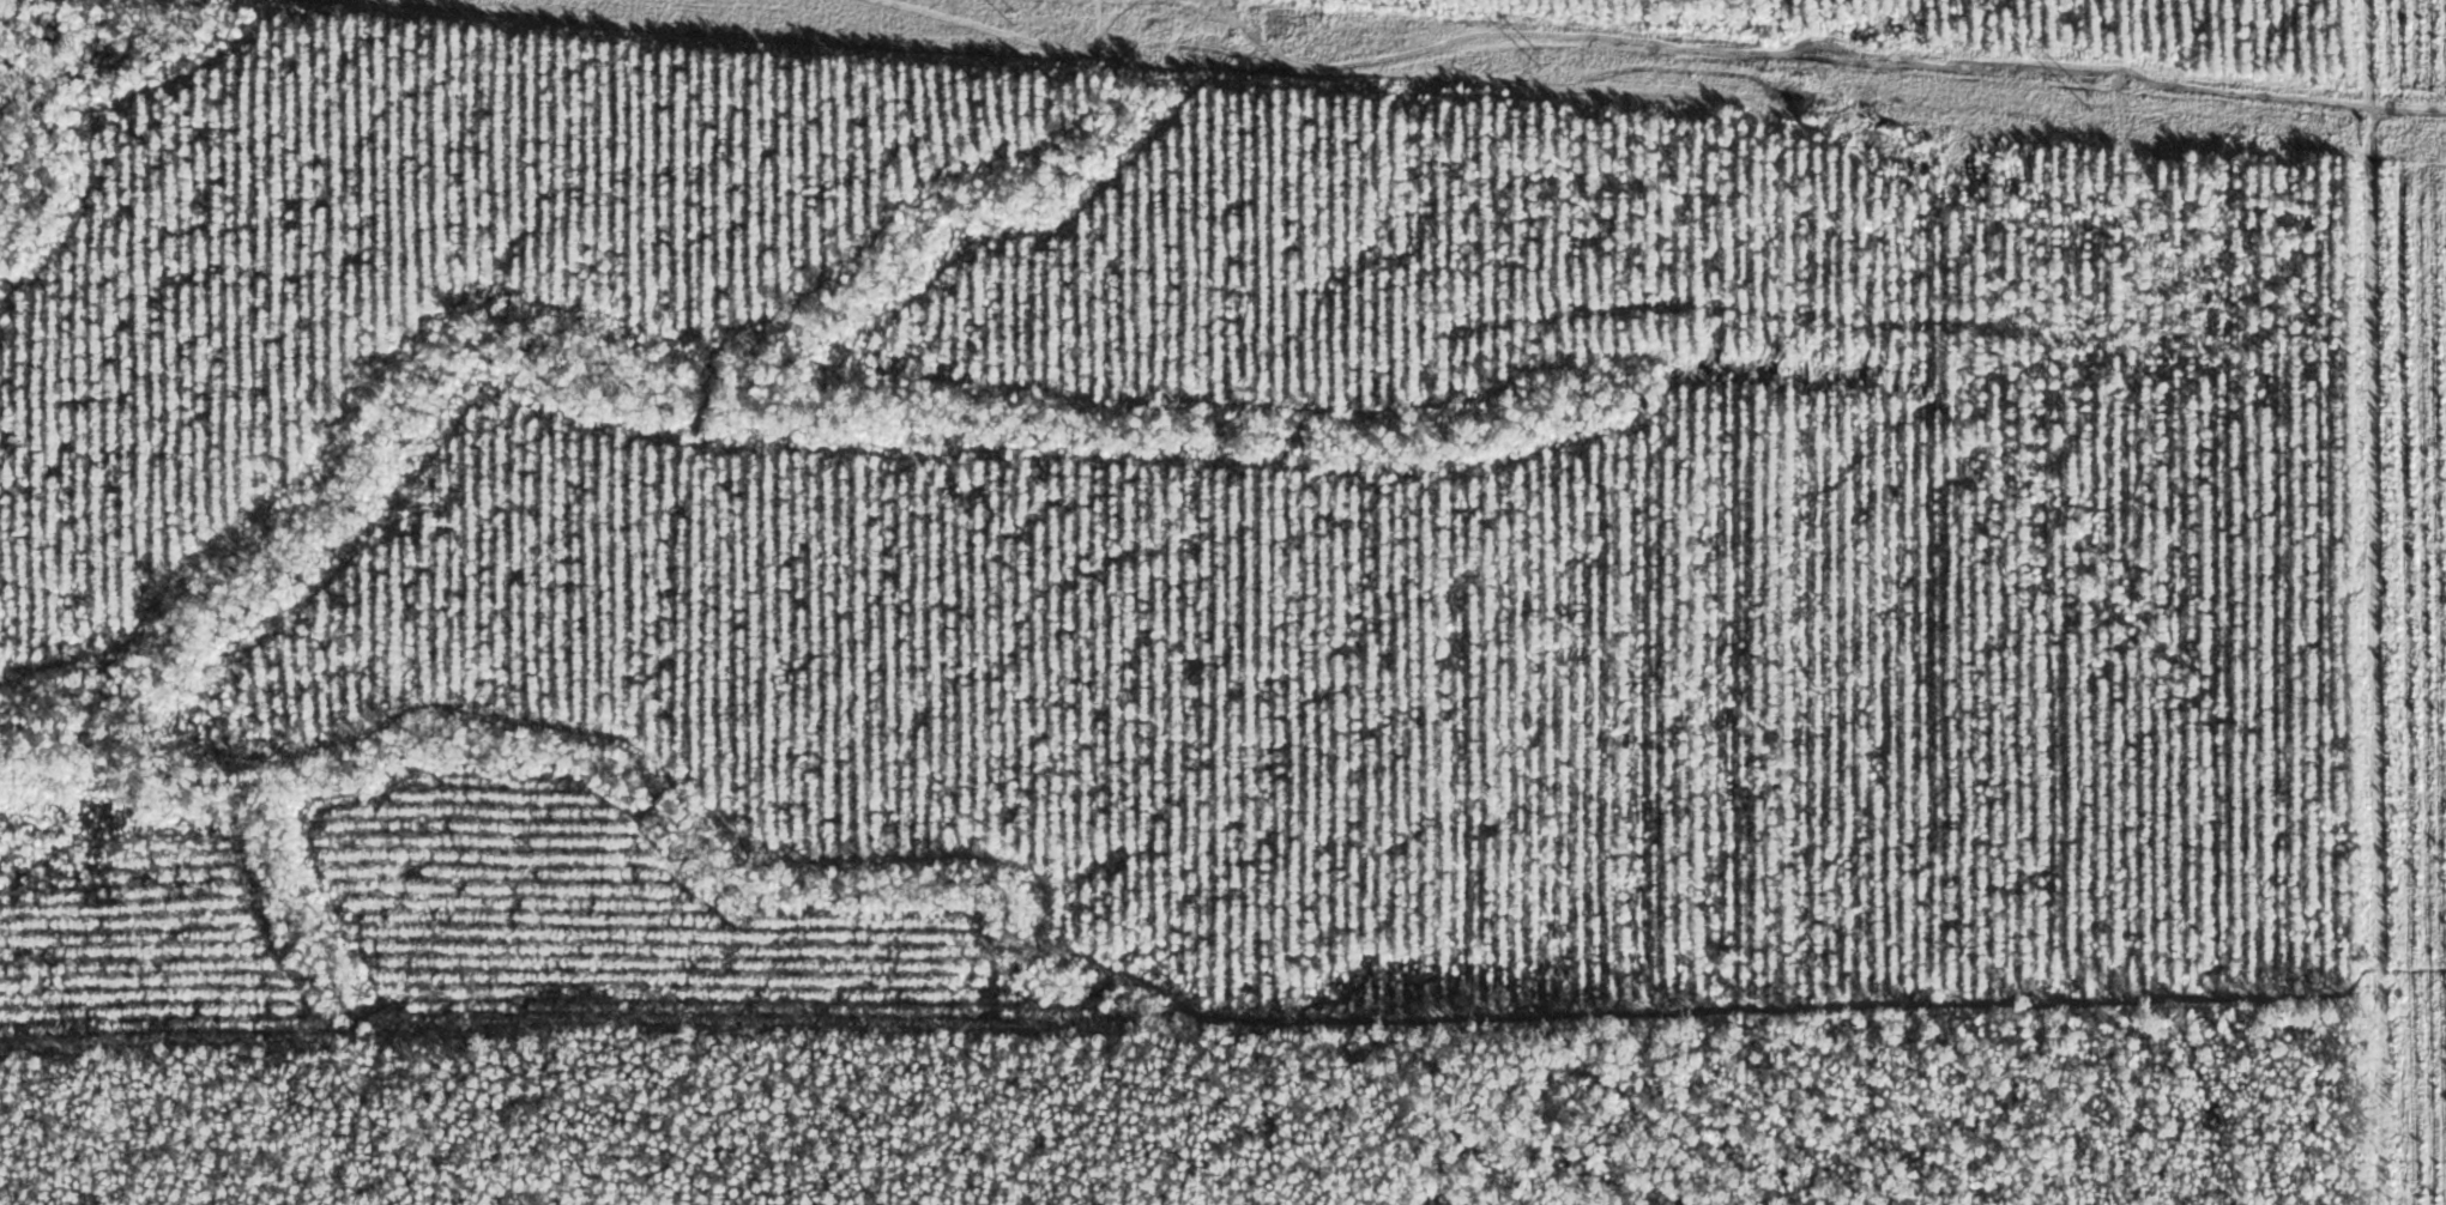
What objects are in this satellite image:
power tower: (1014, 14)
power tower: (1536, 55)
power tower: (2090, 99)

